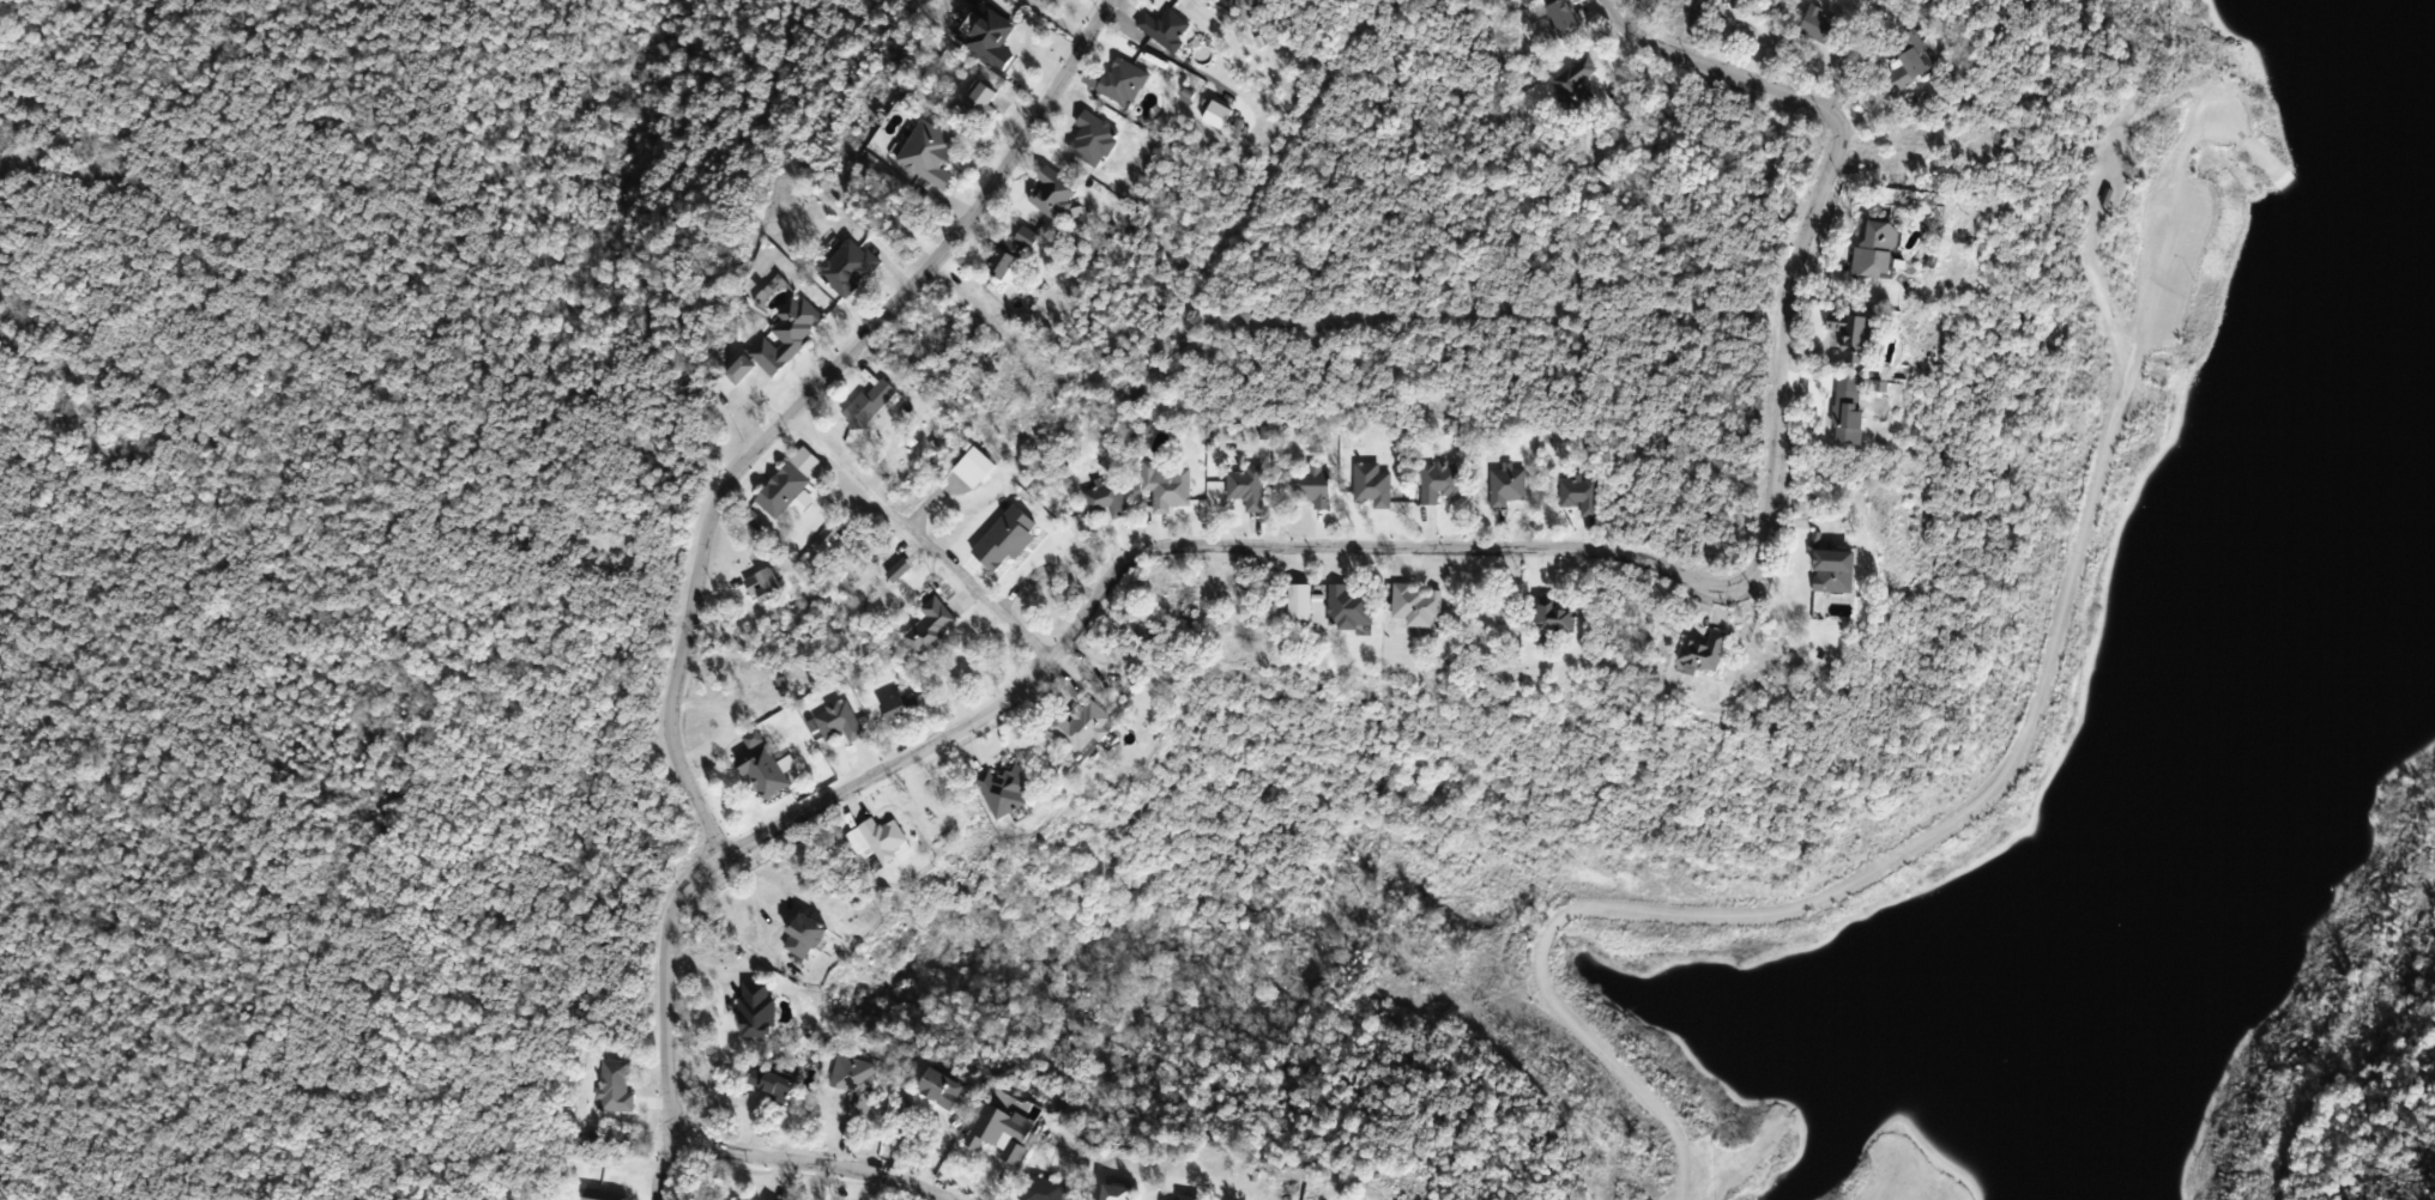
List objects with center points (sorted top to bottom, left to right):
building: (1563, 16)
building: (1821, 25)
building: (1166, 29)
building: (991, 37)
road: (1348, 38)
building: (1908, 62)
building: (1124, 81)
building: (1576, 86)
building: (983, 103)
building: (1094, 140)
building: (930, 153)
building: (1055, 192)
building: (2272, 207)
building: (1878, 249)
building: (1010, 254)
building: (850, 268)
road: (1329, 326)
building: (1860, 337)
building: (781, 340)
road: (803, 400)
building: (871, 405)
building: (1847, 414)
building: (1440, 483)
building: (1313, 484)
building: (1372, 485)
building: (1167, 486)
building: (1507, 486)
building: (1247, 487)
building: (784, 490)
building: (1582, 496)
building: (1106, 498)
road: (913, 540)
road: (1552, 549)
park: (330, 564)
building: (1835, 571)
building: (765, 587)
building: (1300, 604)
building: (1419, 605)
building: (1351, 607)
building: (1555, 616)
building: (932, 628)
building: (1704, 651)
building: (898, 710)
building: (839, 722)
building: (1082, 727)
building: (763, 768)
building: (1005, 789)
building: (884, 838)
road: (1765, 910)
building: (805, 938)
building: (757, 1012)
building: (856, 1081)
building: (773, 1084)
building: (616, 1086)
building: (942, 1090)
road: (671, 1114)
building: (1001, 1133)
road: (665, 1162)
building: (1043, 1189)
building: (1117, 1193)
building: (602, 1195)
building: (738, 1199)
building: (1165, 1199)
building: (1185, 1199)

